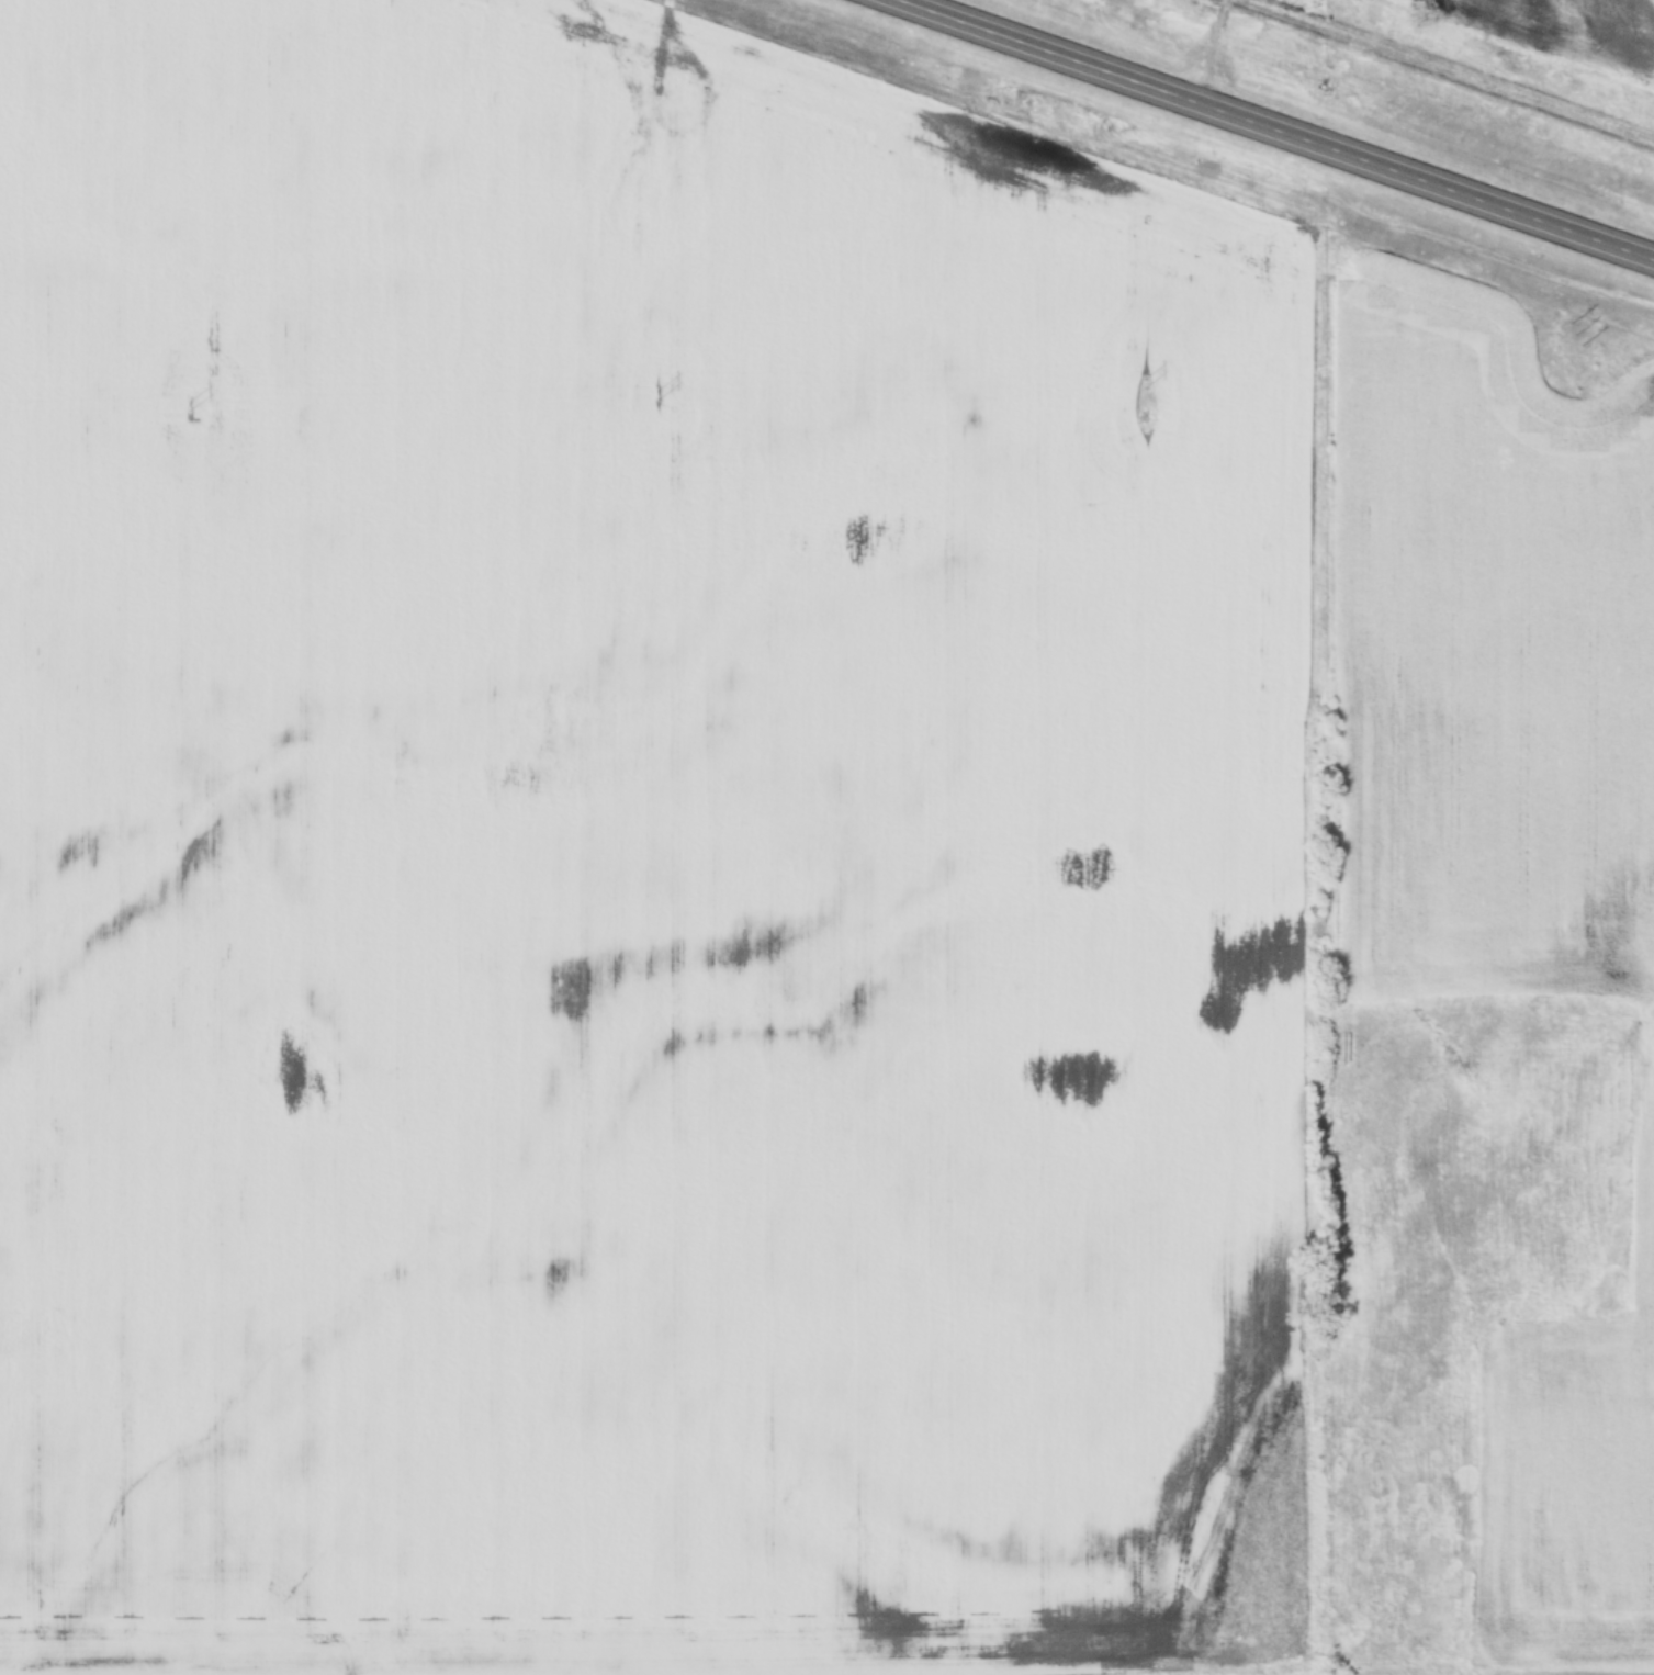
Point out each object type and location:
road: (1209, 50)
railway: (1454, 68)
road: (1275, 130)
power tower: (1575, 335)
power tower: (1143, 384)
power tower: (656, 394)
power tower: (189, 405)

